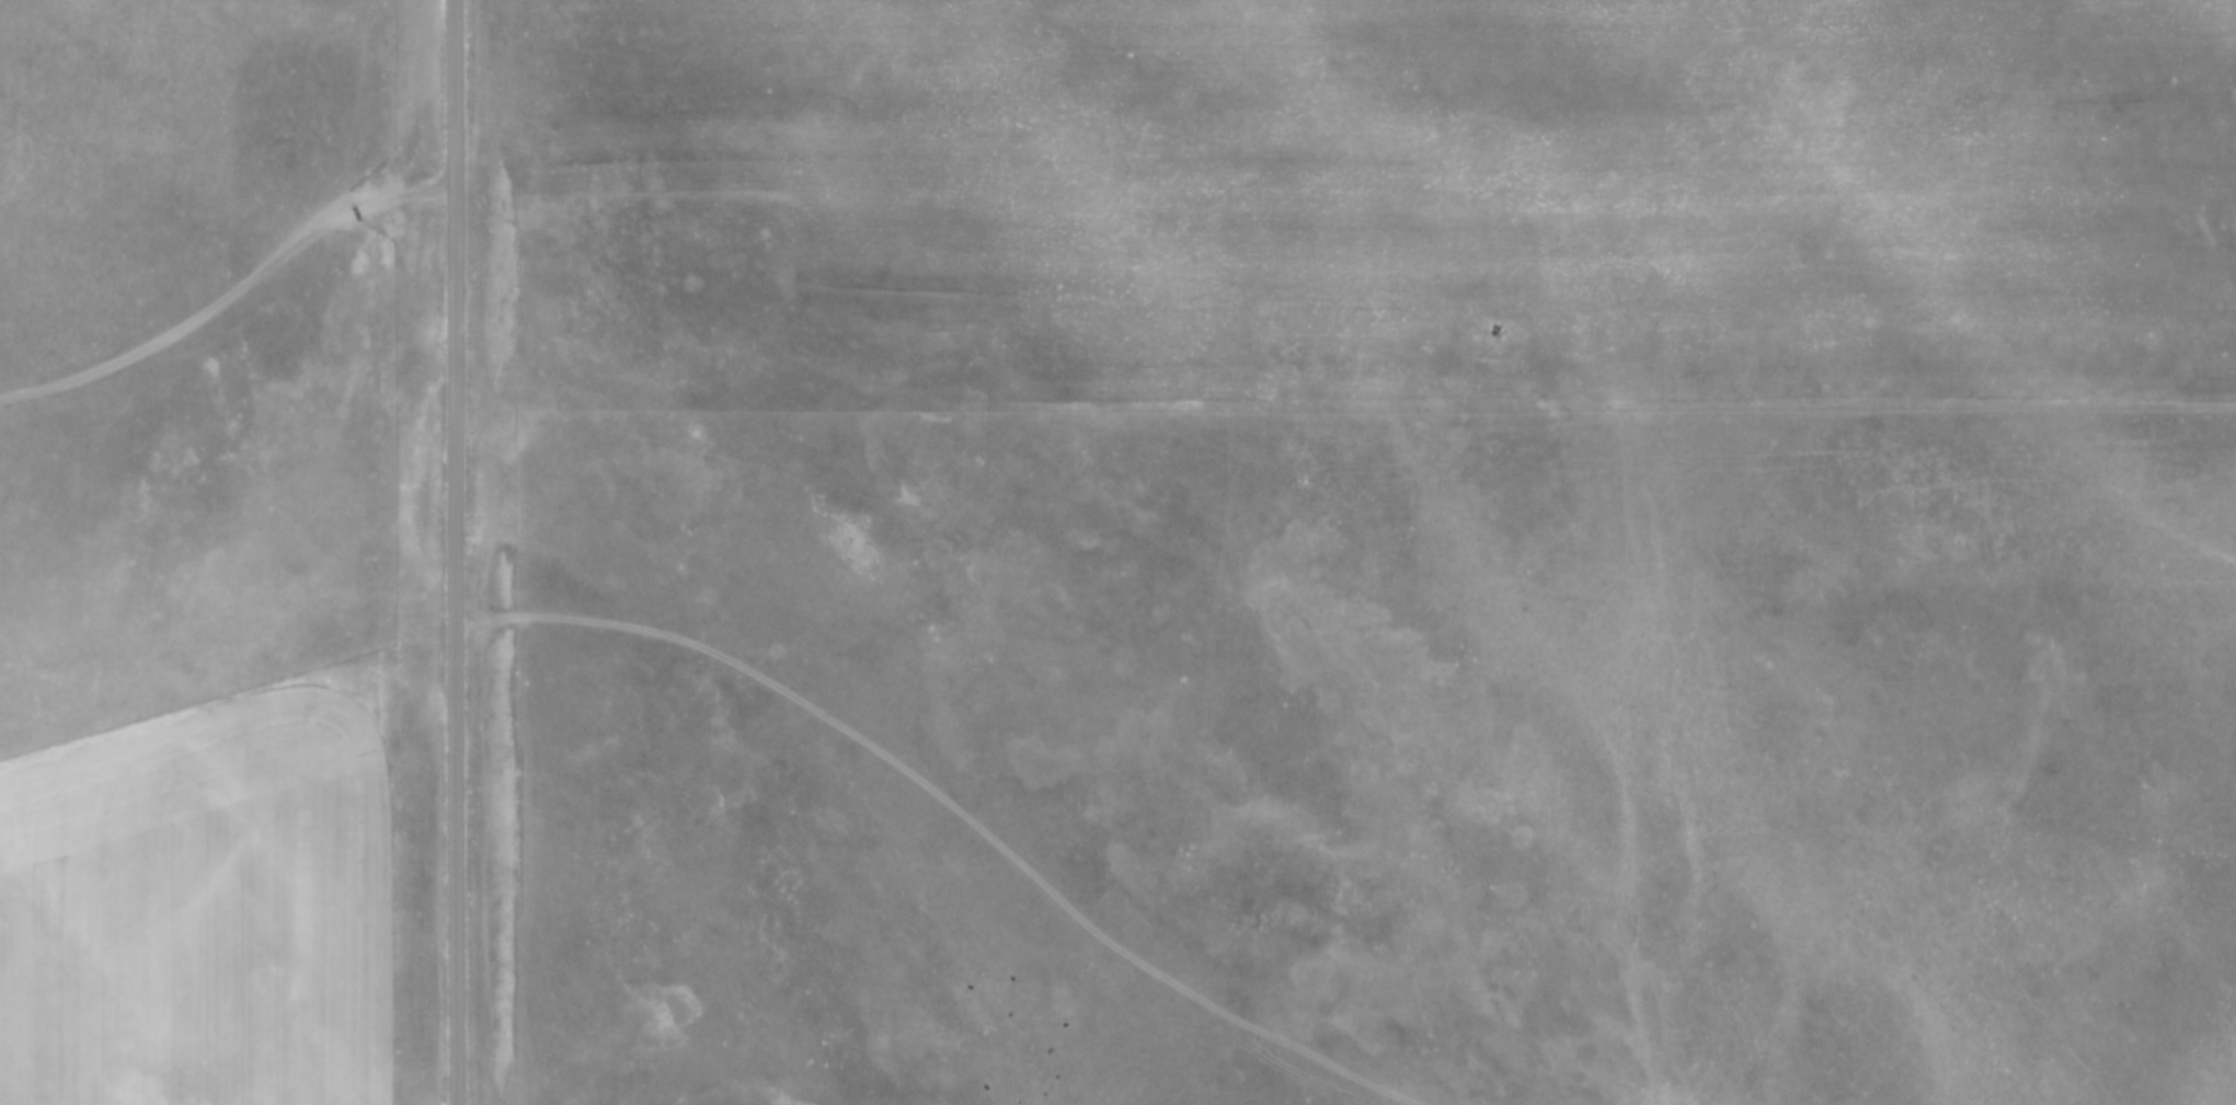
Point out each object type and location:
road: (451, 95)
road: (229, 301)
road: (451, 647)

